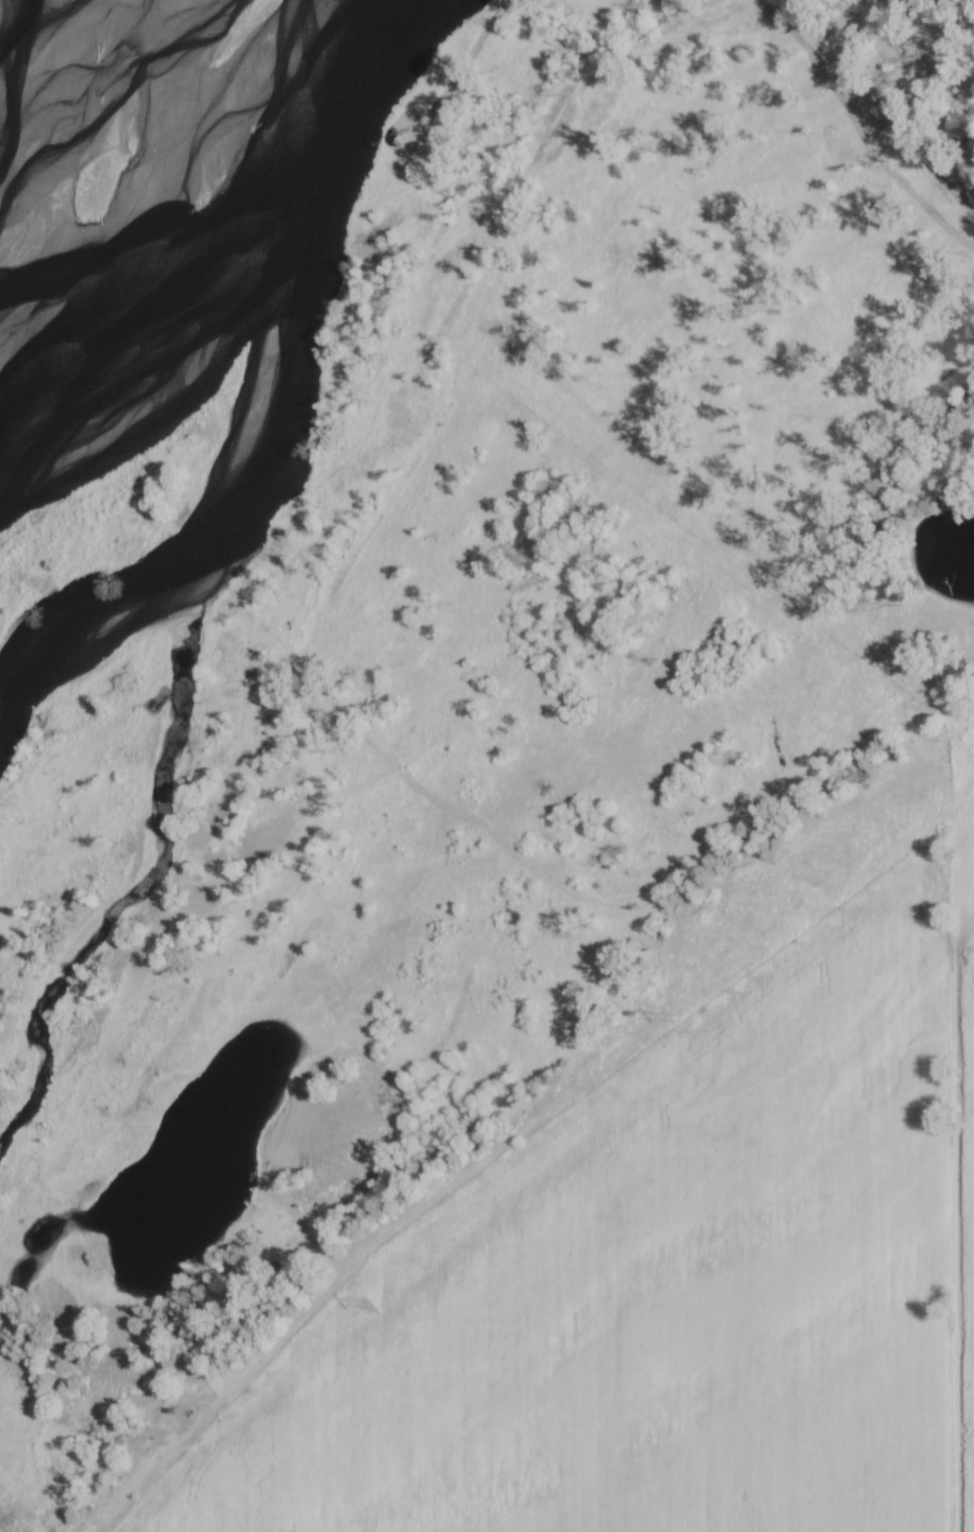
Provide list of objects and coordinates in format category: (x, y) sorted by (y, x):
river: (48, 52)
power tower: (680, 1018)
power tower: (370, 1304)

